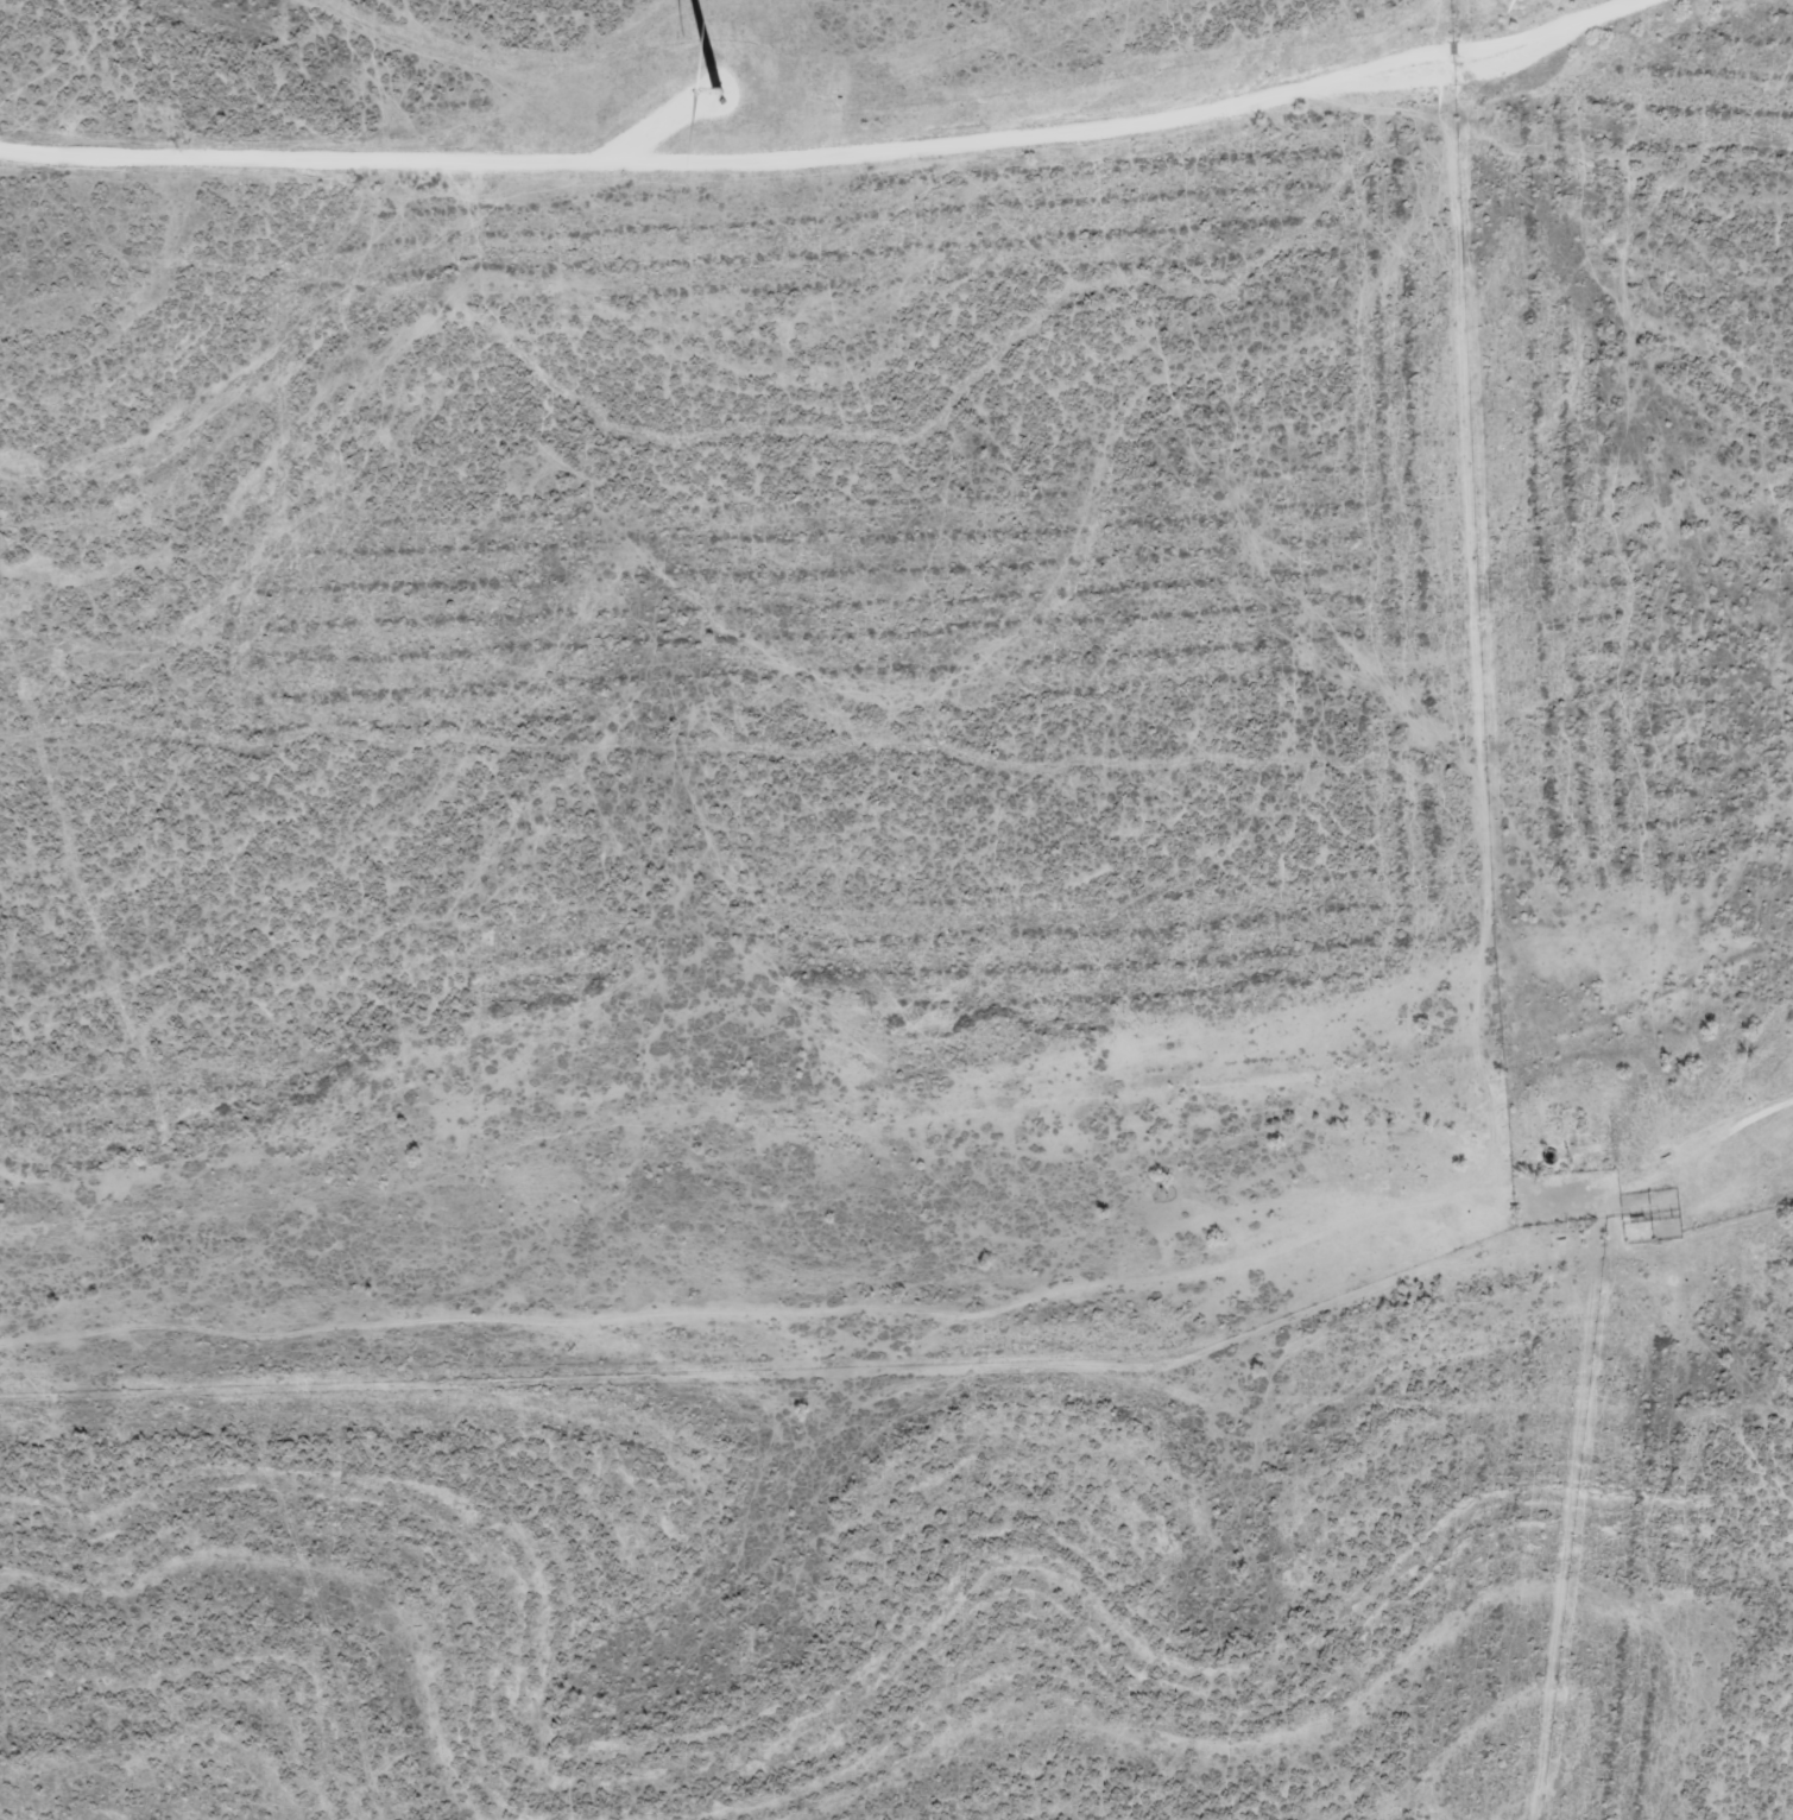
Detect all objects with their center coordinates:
wind turbine: (701, 99)
road: (834, 146)
road: (1774, 1120)

